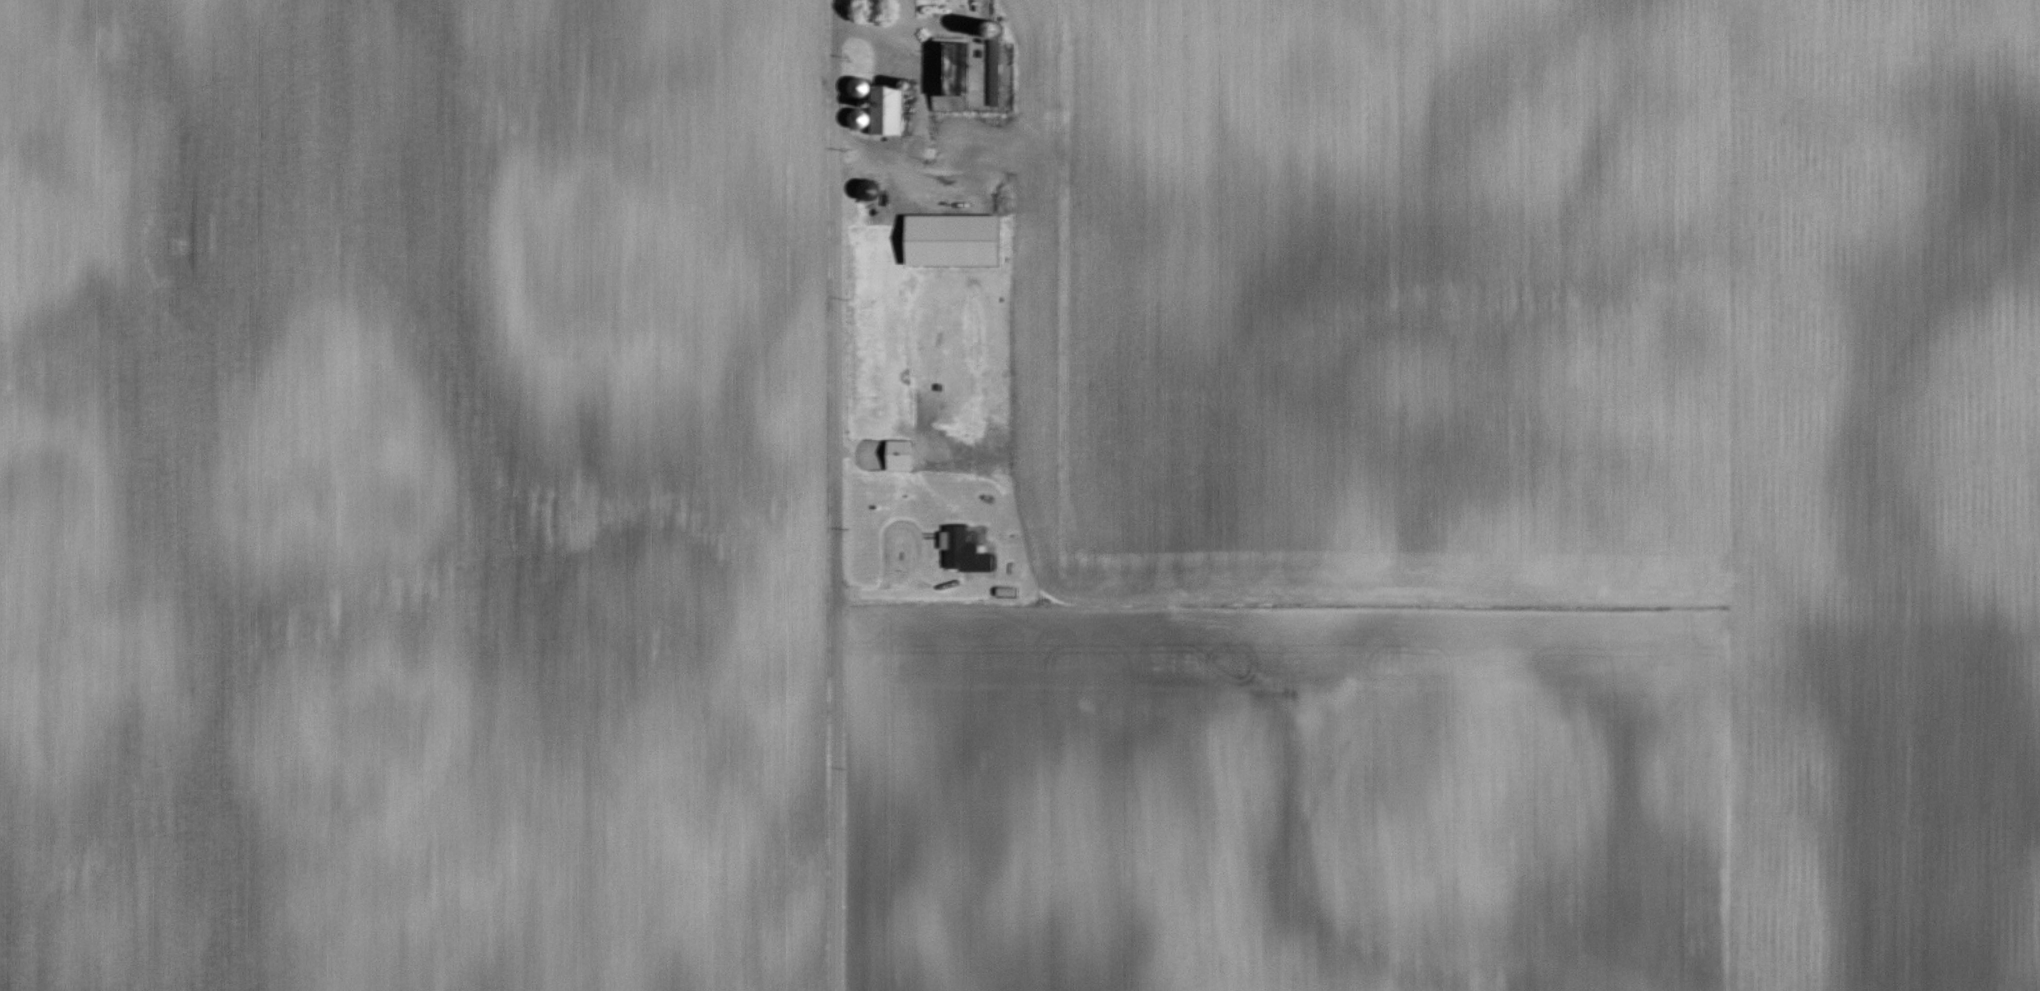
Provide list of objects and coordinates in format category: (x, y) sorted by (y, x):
road: (909, 19)
building: (977, 43)
building: (952, 74)
road: (923, 96)
road: (858, 143)
building: (956, 239)
building: (899, 449)
road: (837, 495)
building: (958, 544)
road: (921, 548)

